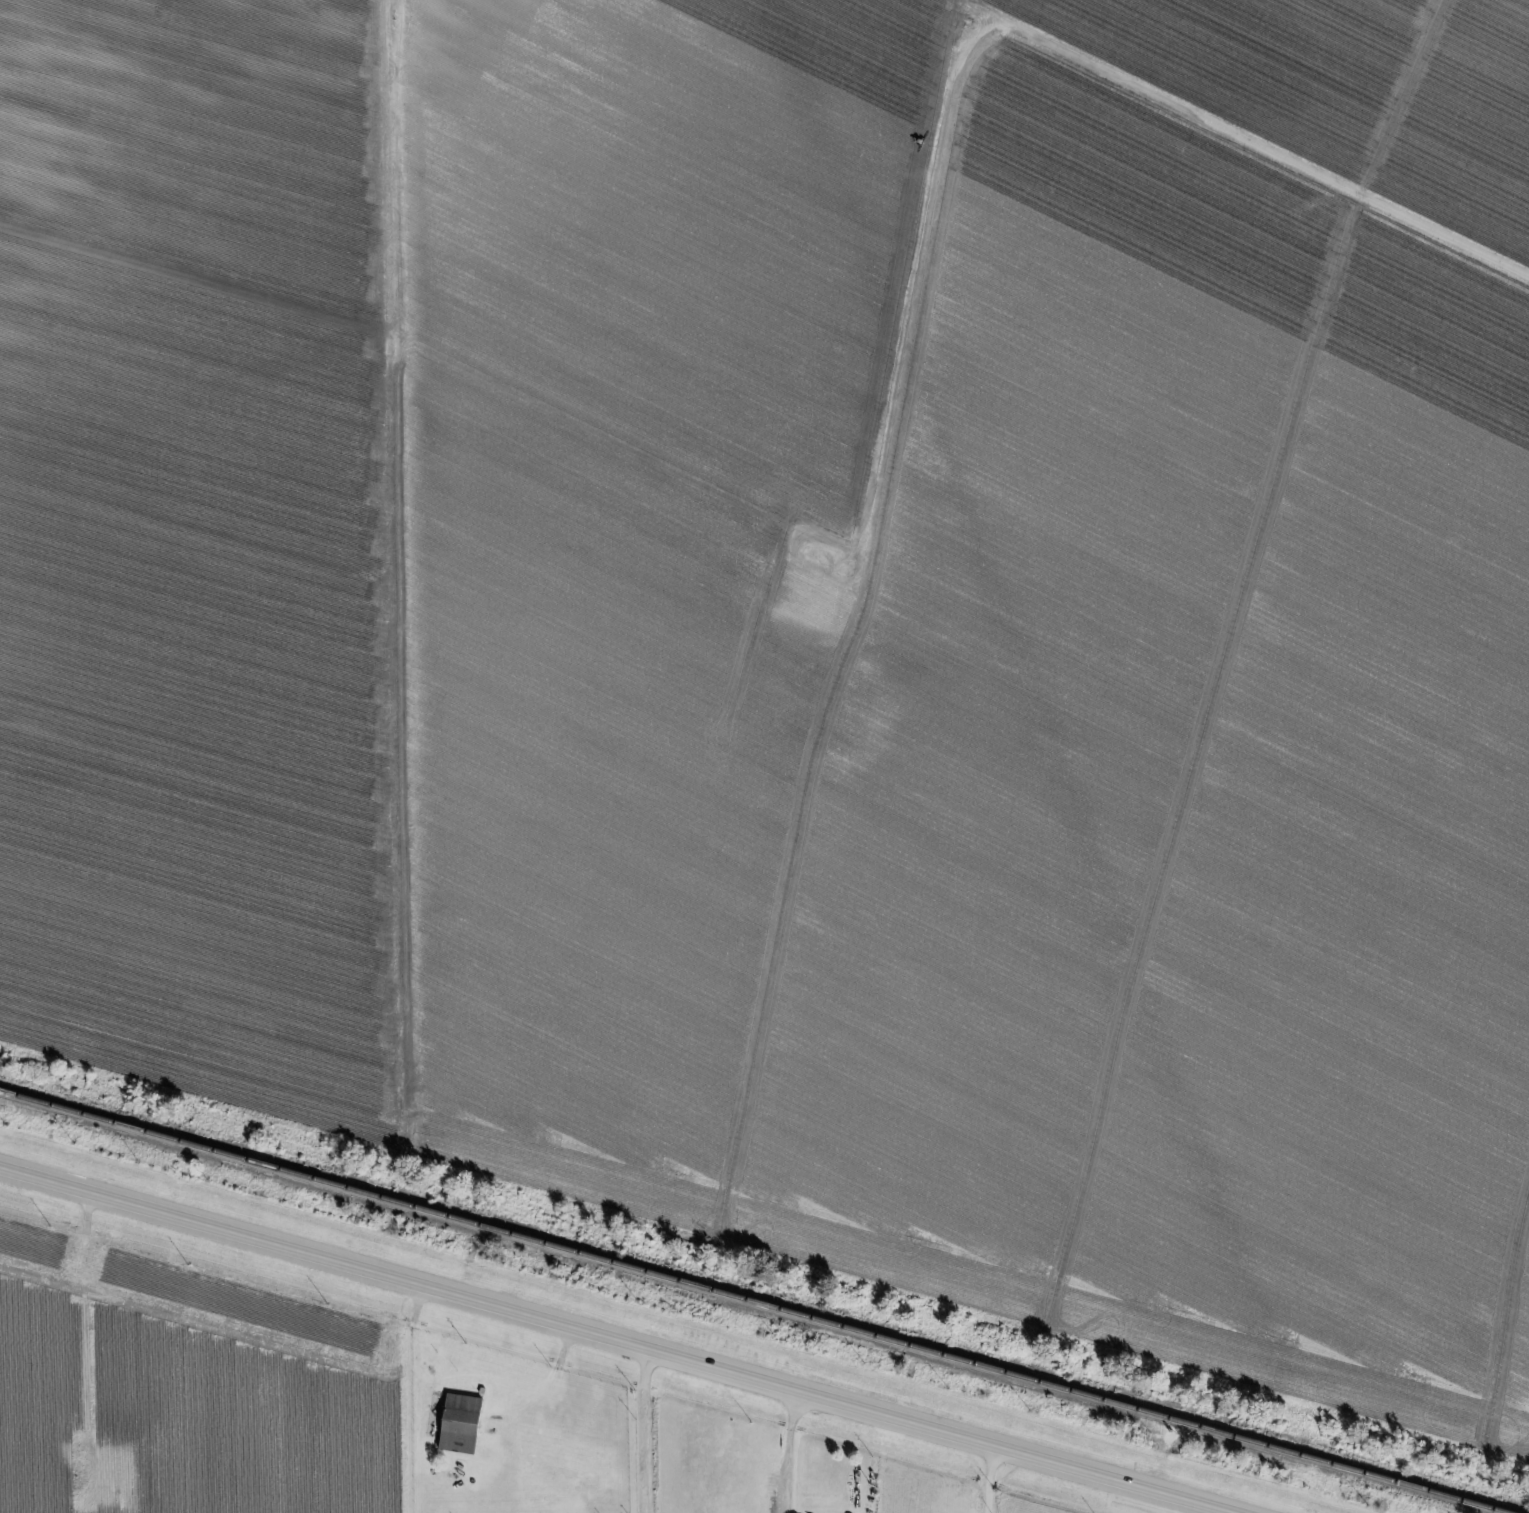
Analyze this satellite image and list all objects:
railway: (749, 1302)
road: (94, 1316)
road: (613, 1341)
road: (419, 1389)
building: (459, 1424)
road: (648, 1432)
road: (793, 1452)
road: (988, 1480)

